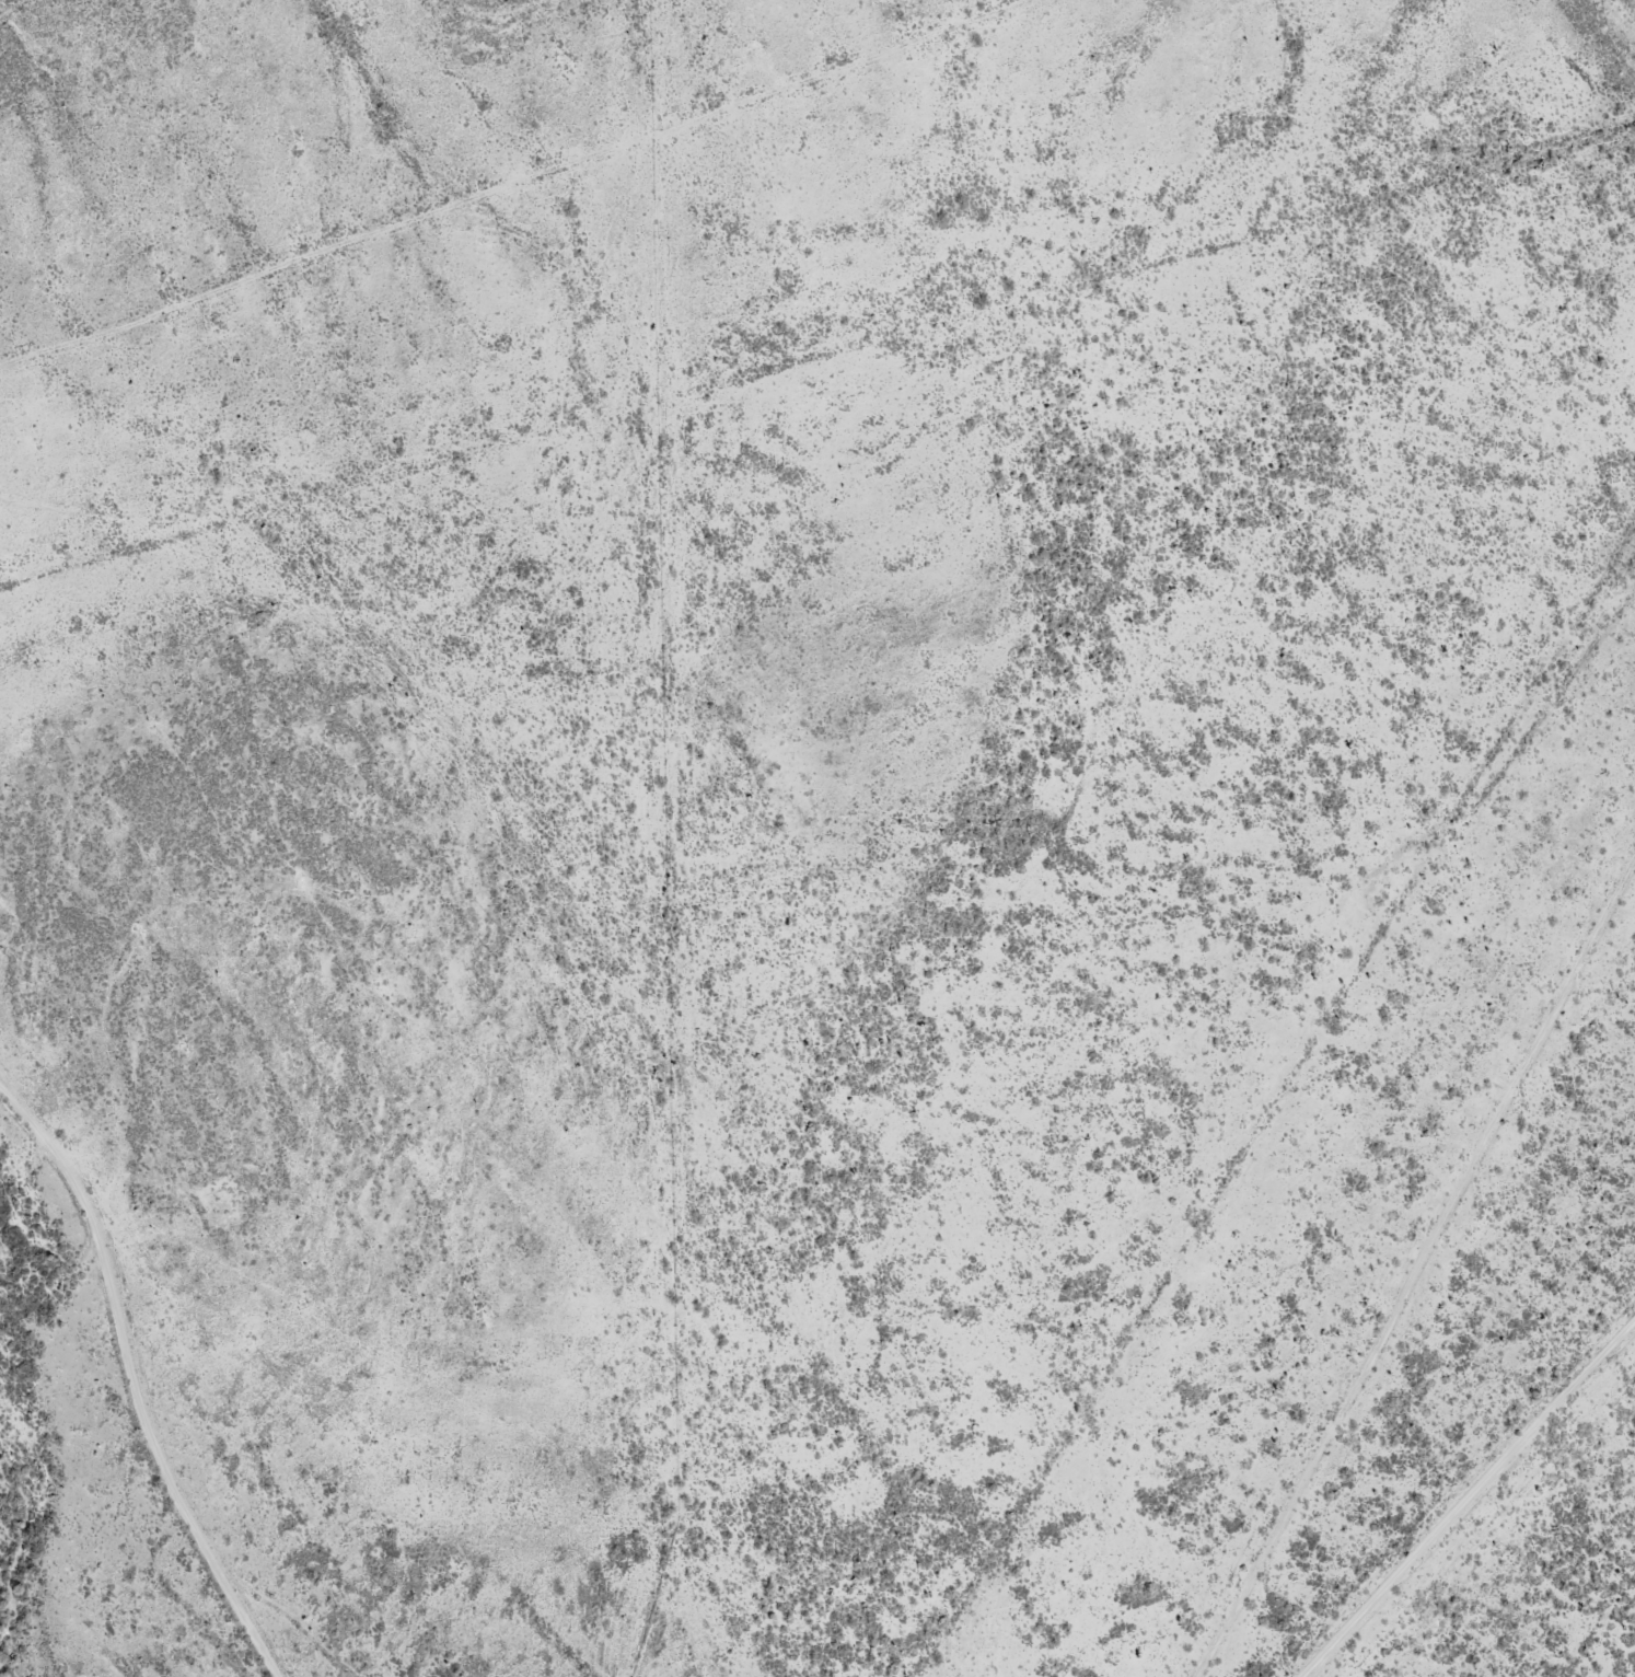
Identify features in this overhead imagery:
road: (518, 177)
road: (1414, 1245)
road: (163, 1342)
road: (1476, 1502)

